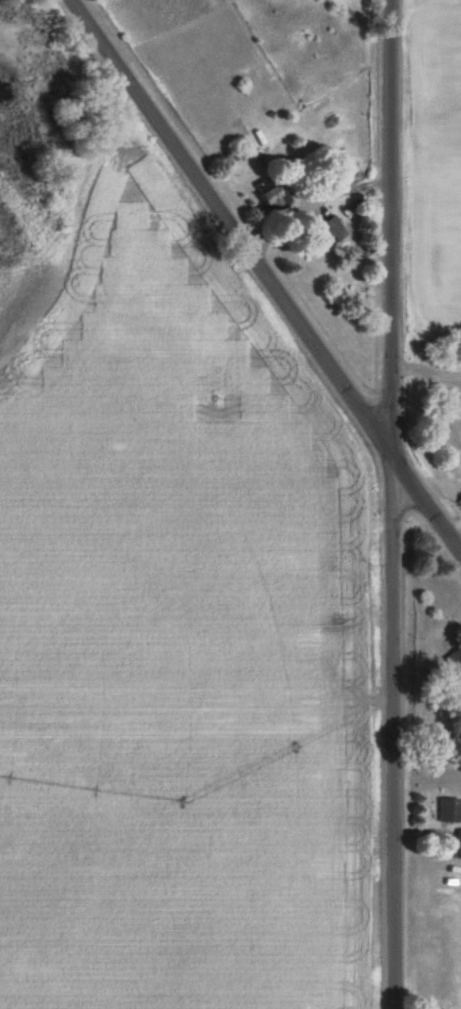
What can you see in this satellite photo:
building: (348, 169)
crop: (446, 182)
building: (270, 195)
road: (315, 214)
building: (332, 230)
road: (266, 277)
road: (390, 504)
crop: (176, 641)
building: (455, 664)
building: (449, 810)

